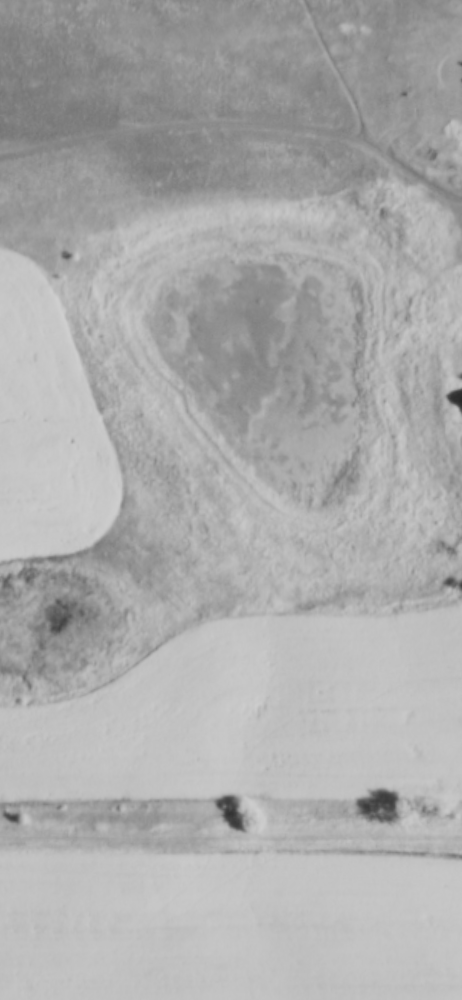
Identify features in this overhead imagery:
road: (448, 41)
road: (366, 117)
road: (230, 837)

